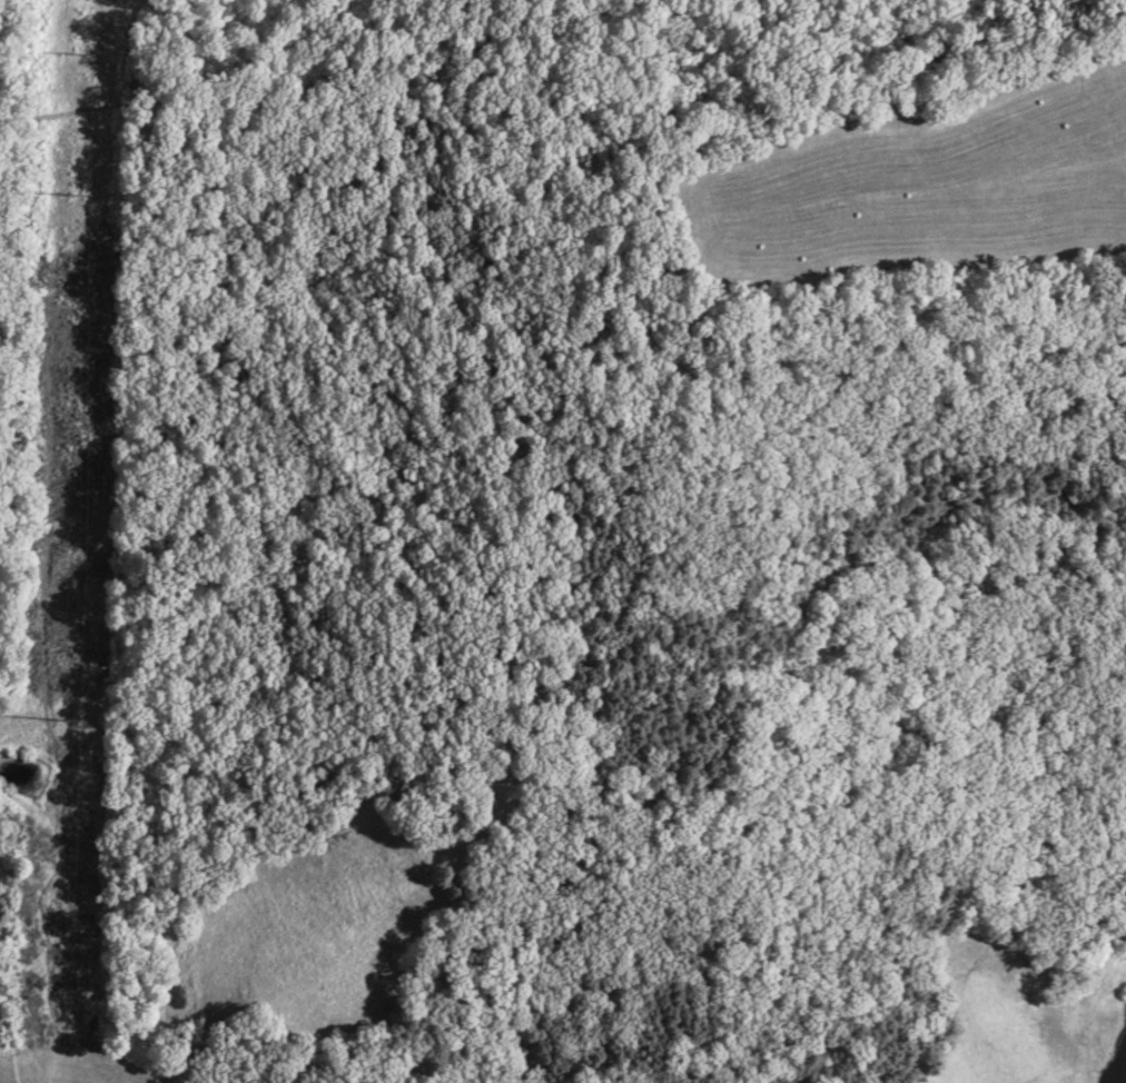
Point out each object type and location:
power tower: (79, 56)
power tower: (76, 195)
power tower: (68, 722)

